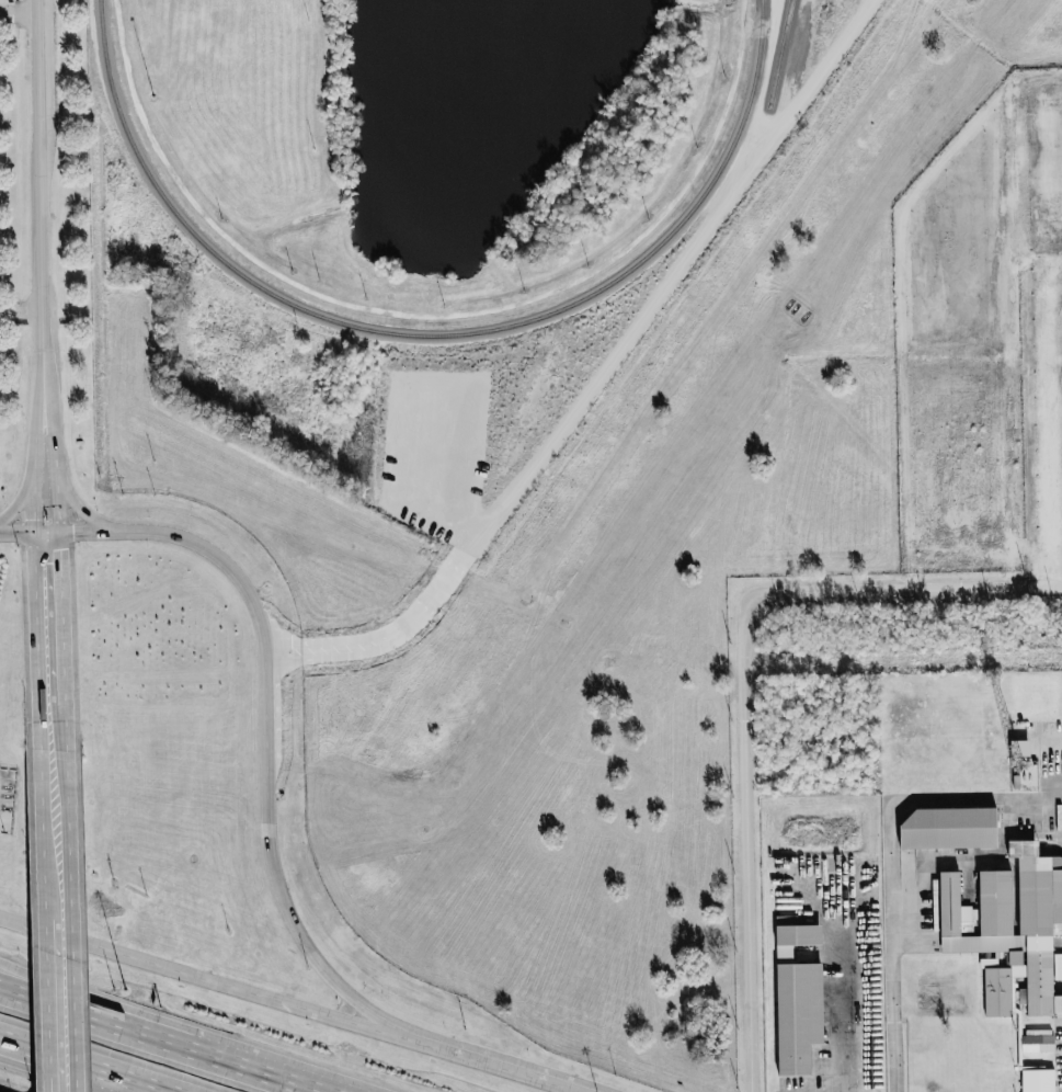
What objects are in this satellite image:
road: (19, 14)
road: (39, 175)
railway: (432, 334)
road: (48, 379)
road: (38, 380)
road: (35, 468)
road: (55, 468)
road: (23, 491)
road: (84, 511)
traffic signals: (36, 517)
road: (90, 528)
traffic signals: (73, 530)
road: (18, 531)
traffic signals: (61, 550)
road: (62, 615)
road: (39, 639)
road: (747, 693)
road: (65, 725)
building: (1023, 747)
road: (266, 794)
building: (953, 827)
road: (46, 833)
road: (891, 860)
road: (73, 920)
building: (1013, 926)
road: (47, 930)
road: (60, 988)
road: (60, 992)
road: (267, 997)
building: (800, 997)
road: (847, 1001)
road: (54, 1004)
building: (1039, 1043)
road: (233, 1053)
road: (81, 1065)
road: (510, 1070)
building: (1040, 1080)

